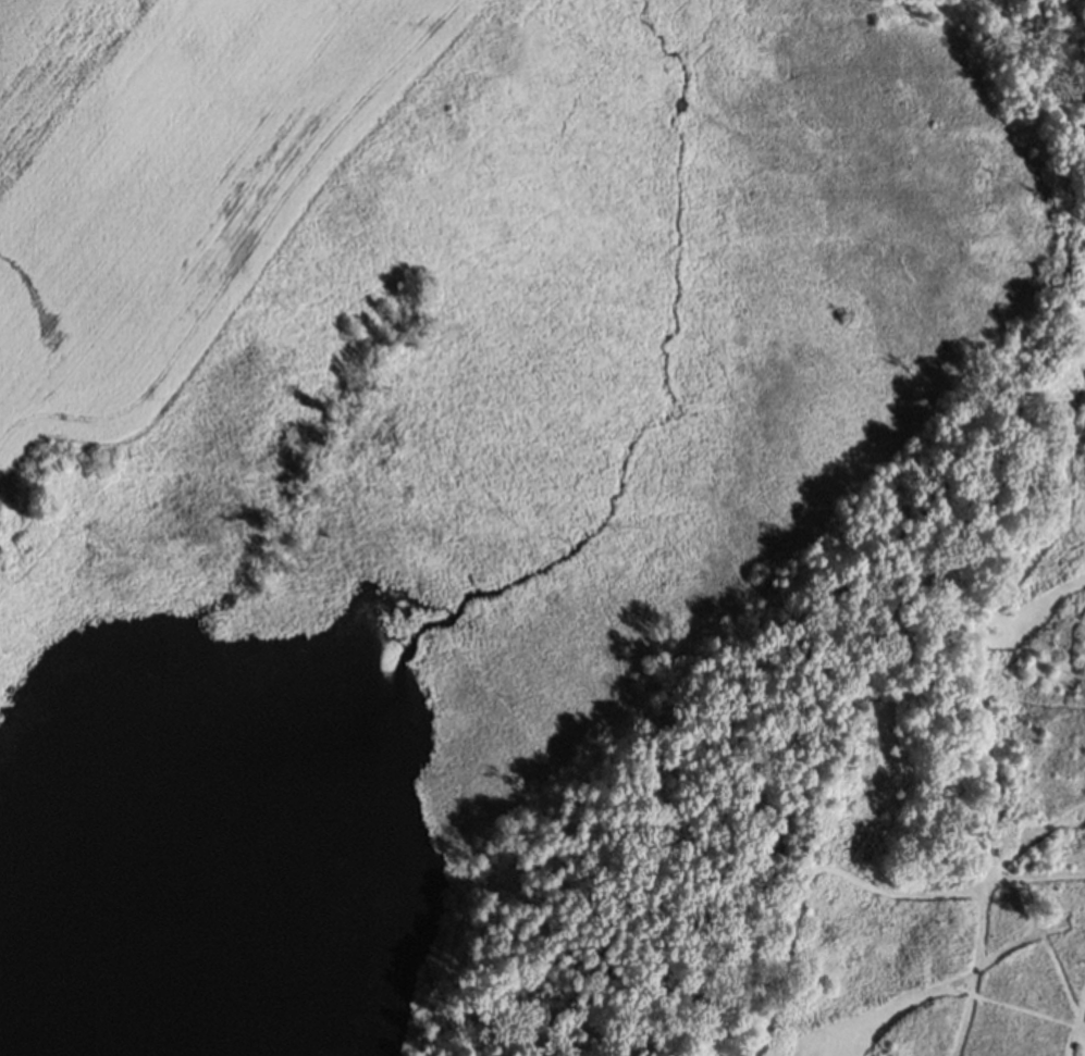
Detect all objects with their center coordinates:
park: (873, 555)
road: (1075, 1027)

